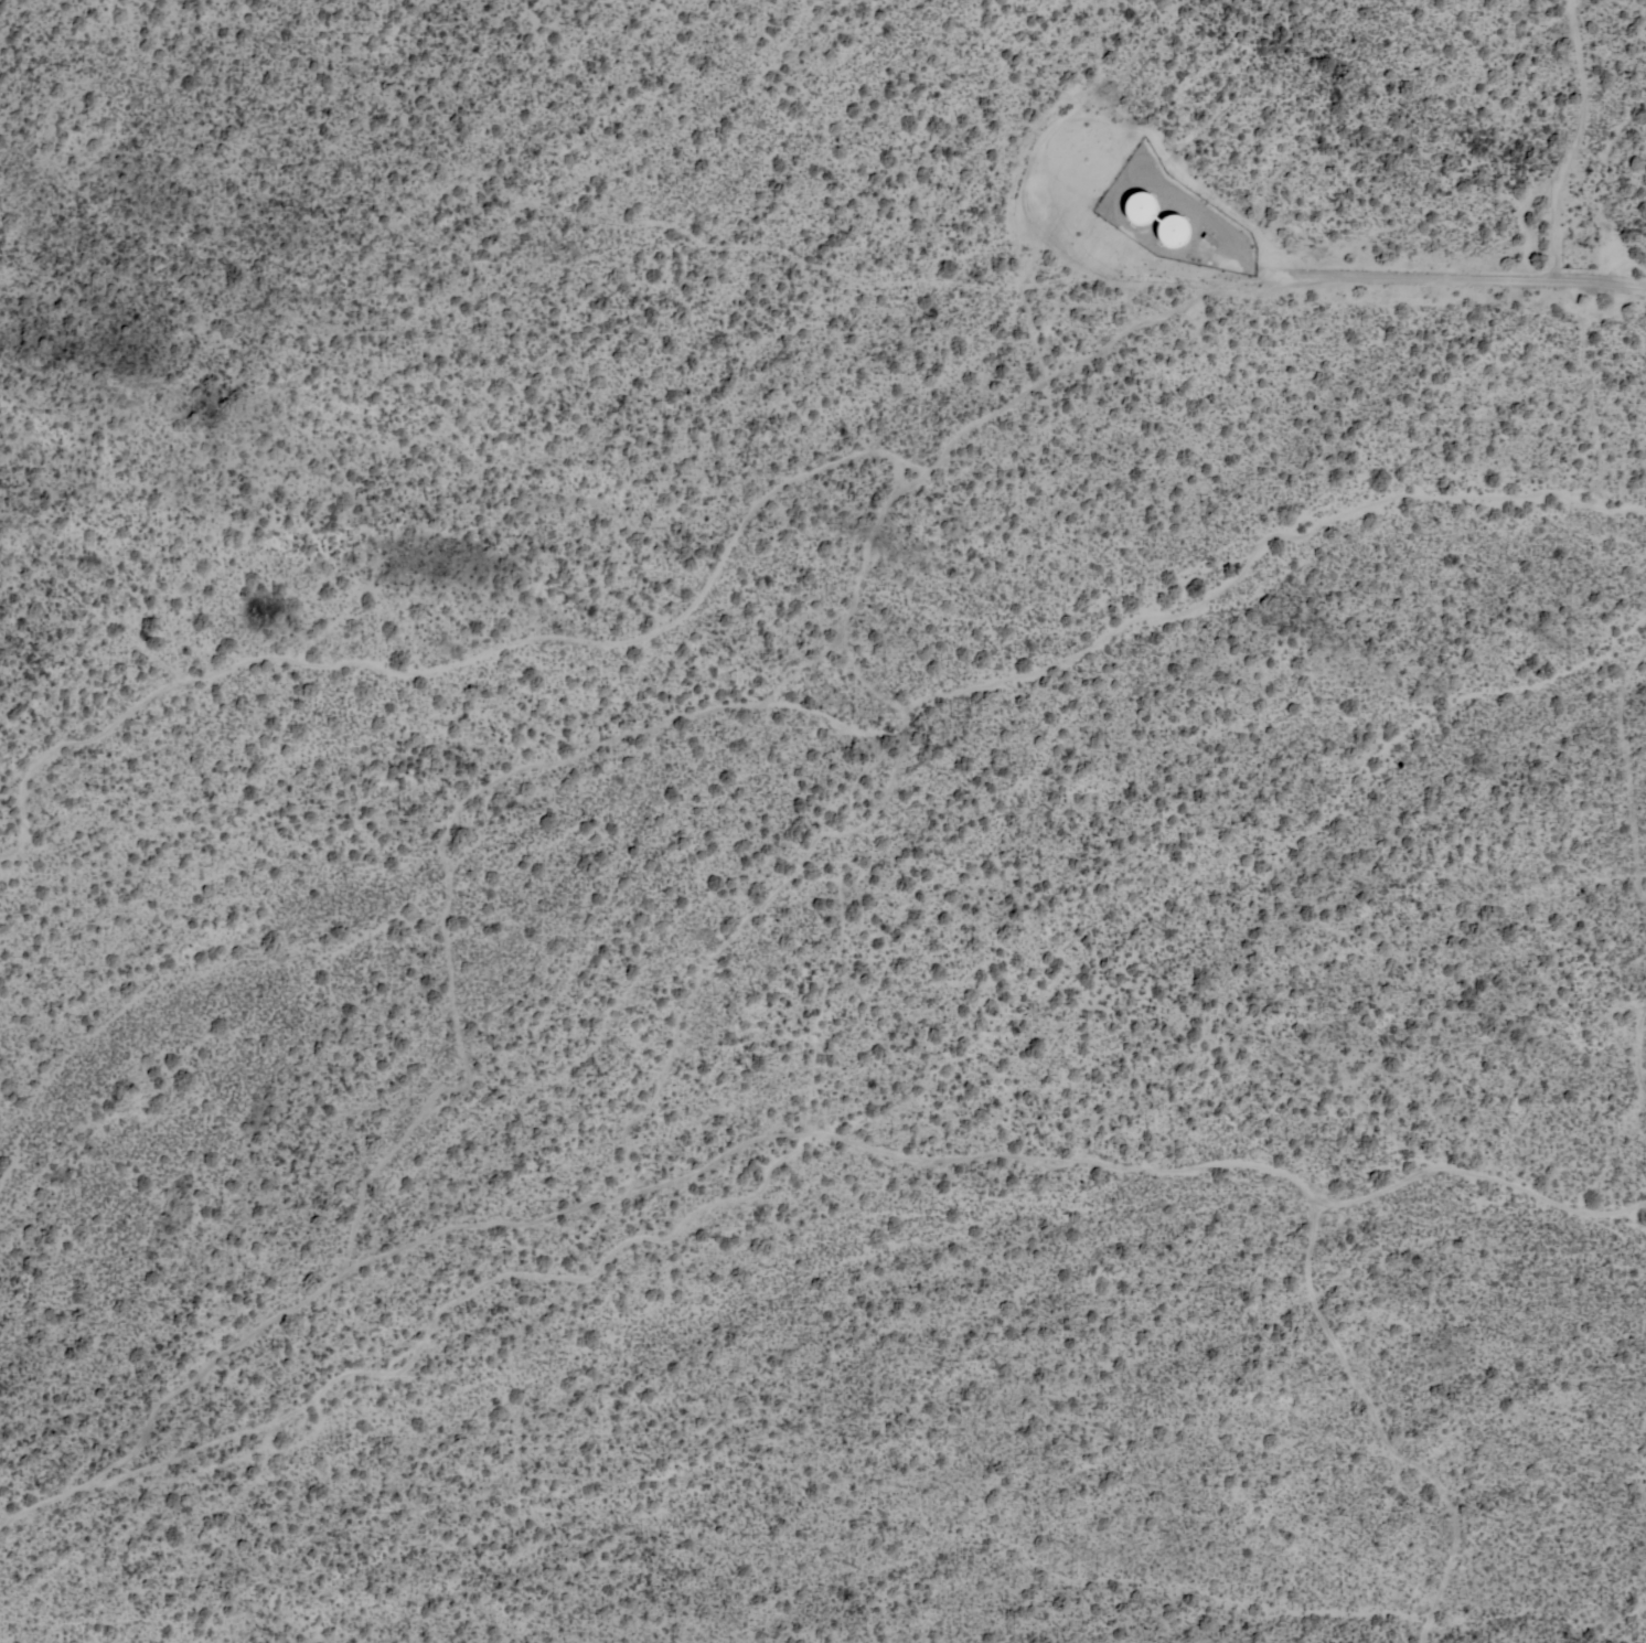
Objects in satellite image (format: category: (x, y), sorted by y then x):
road: (1563, 182)
building: (1139, 206)
building: (1172, 230)
road: (1409, 276)

